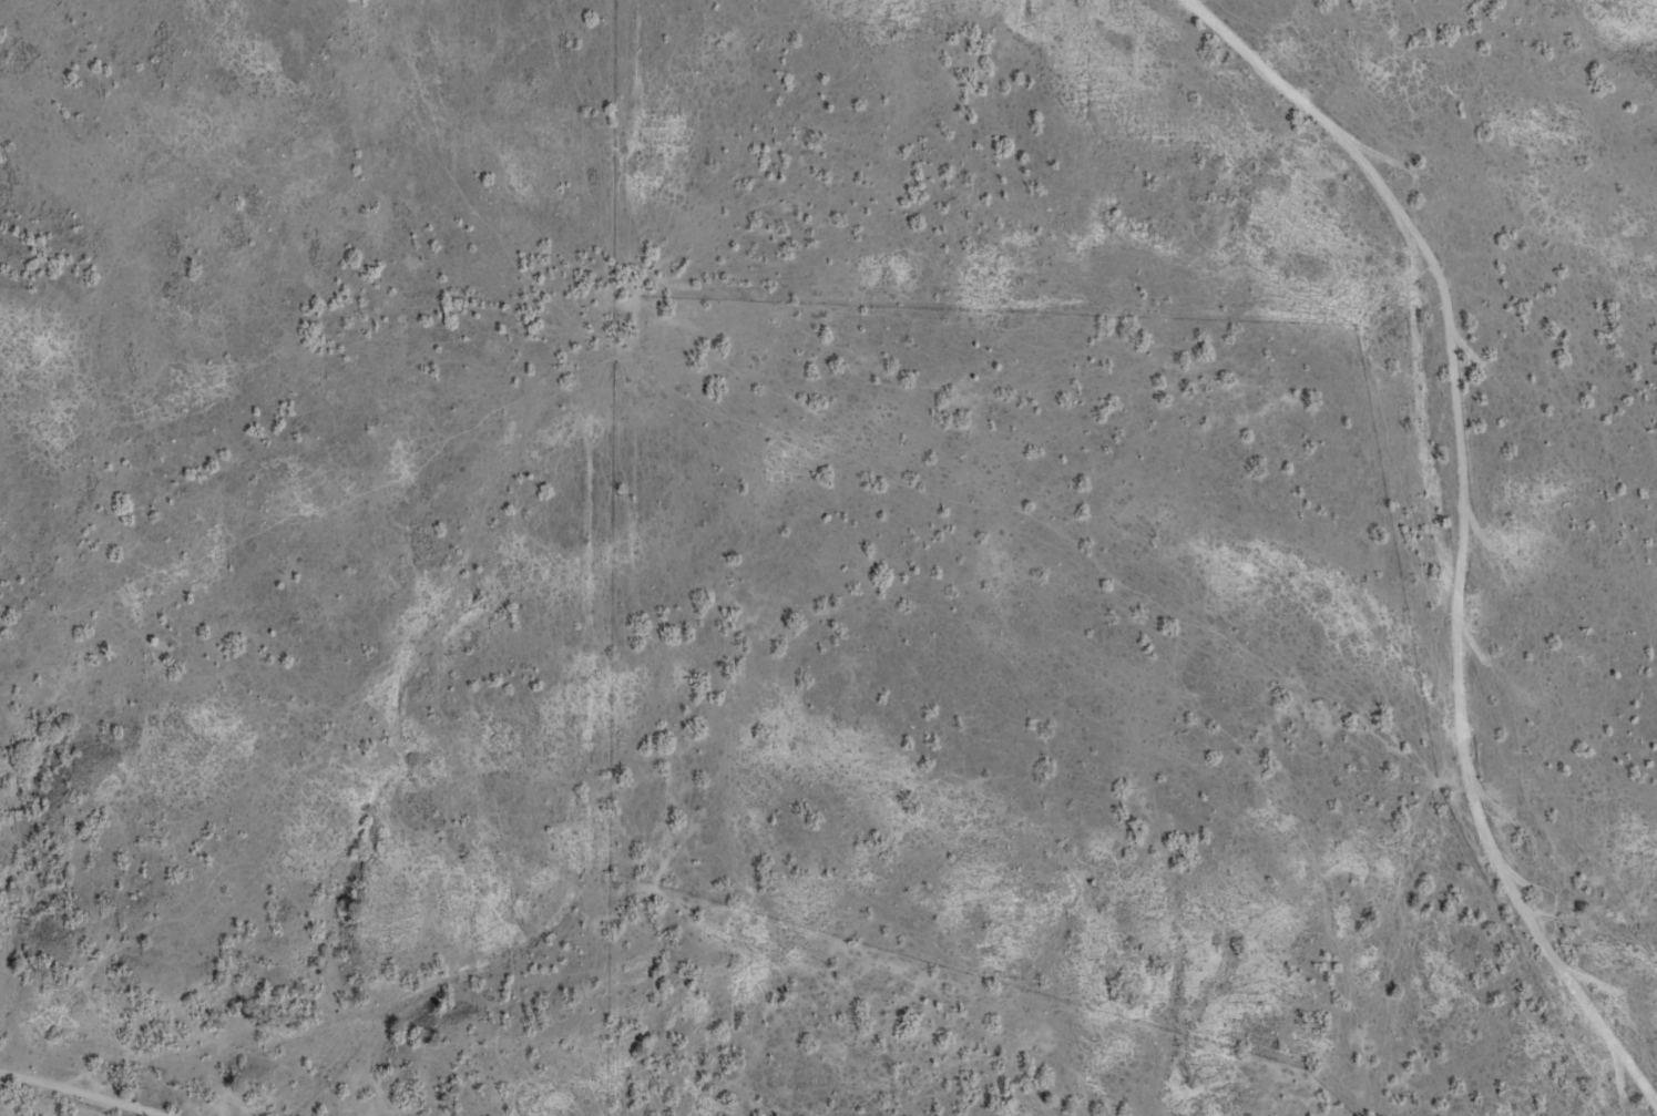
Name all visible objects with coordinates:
road: (630, 146)
road: (479, 182)
road: (1015, 310)
road: (1424, 551)
road: (659, 724)

